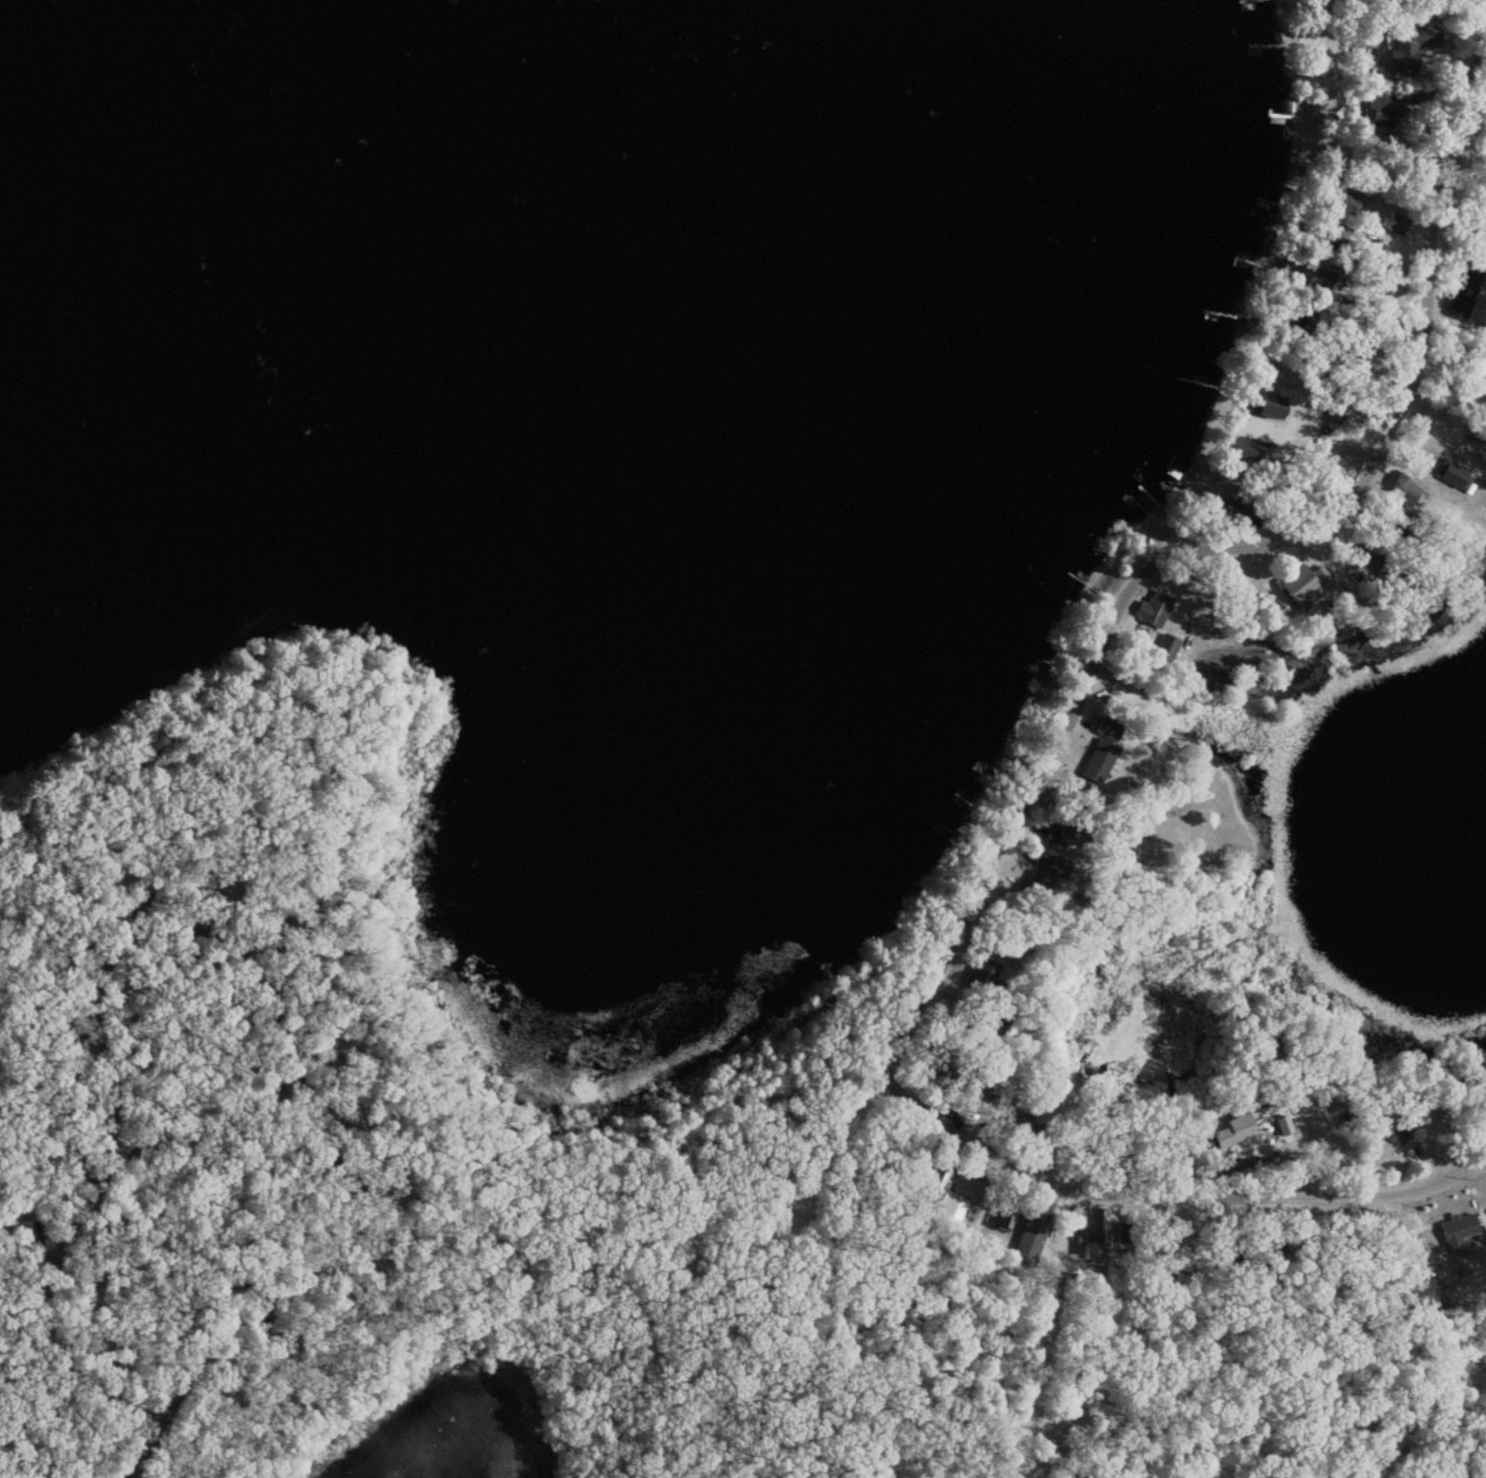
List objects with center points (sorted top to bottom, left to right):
building: (1404, 49)
building: (1378, 113)
building: (1235, 506)
road: (1179, 525)
building: (1295, 584)
building: (1154, 610)
building: (1102, 746)
building: (1063, 834)
building: (1057, 867)
road: (192, 930)
building: (977, 972)
road: (1171, 1169)
building: (940, 1194)
building: (1028, 1239)
building: (1088, 1244)
road: (1055, 1328)
road: (132, 1450)

